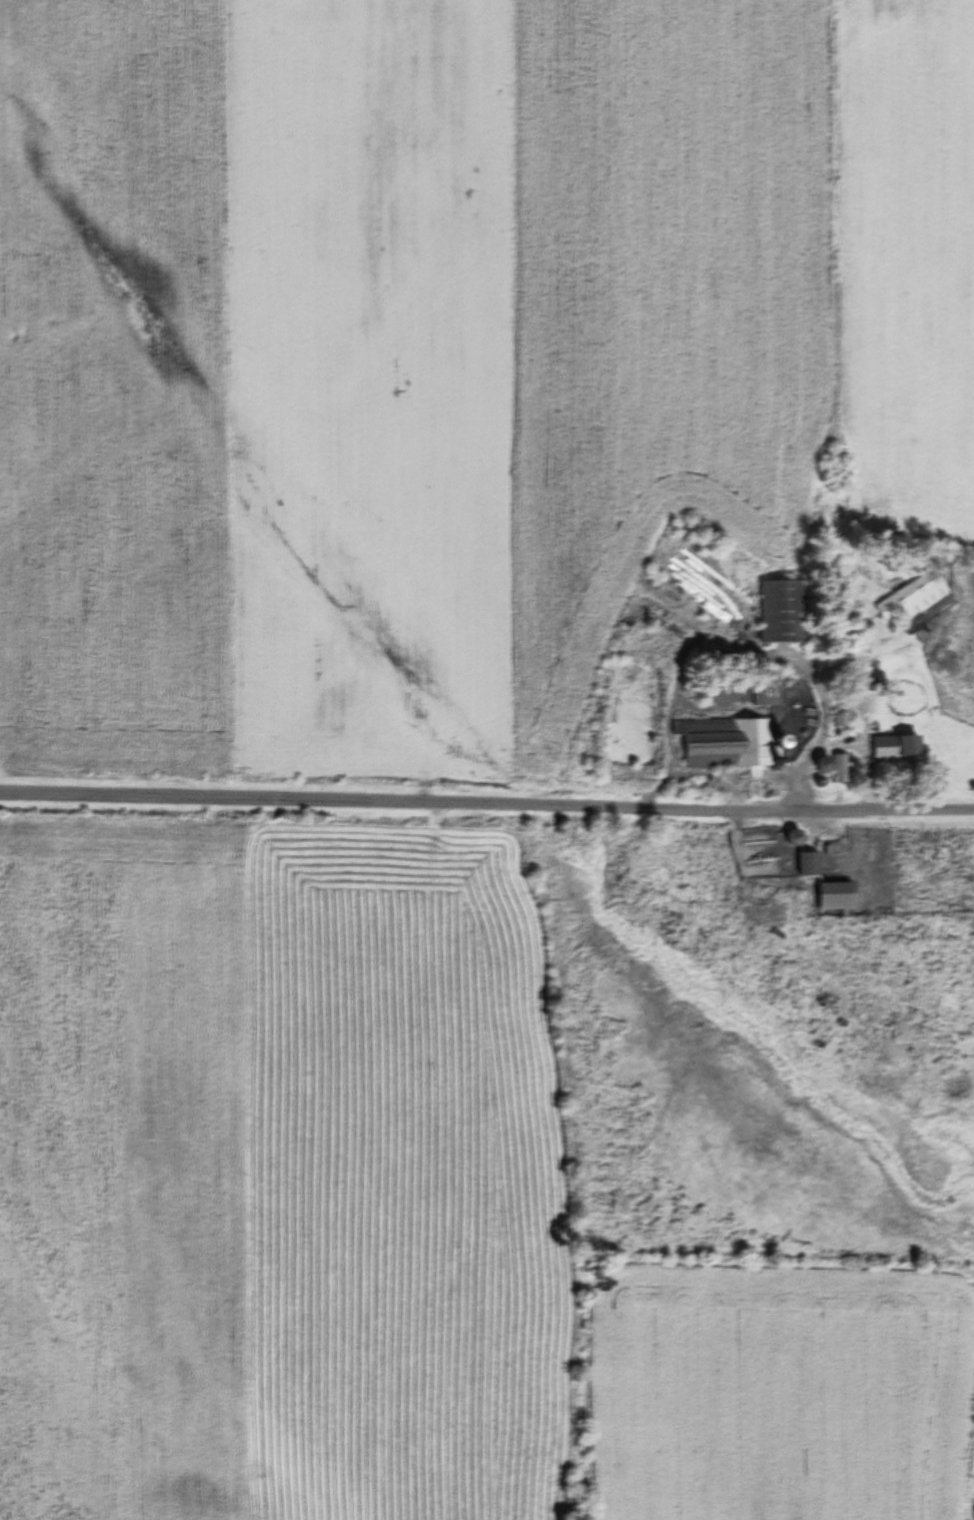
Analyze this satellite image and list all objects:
building: (912, 596)
building: (782, 610)
building: (724, 690)
building: (767, 692)
building: (727, 742)
building: (895, 746)
road: (486, 802)
building: (835, 894)

